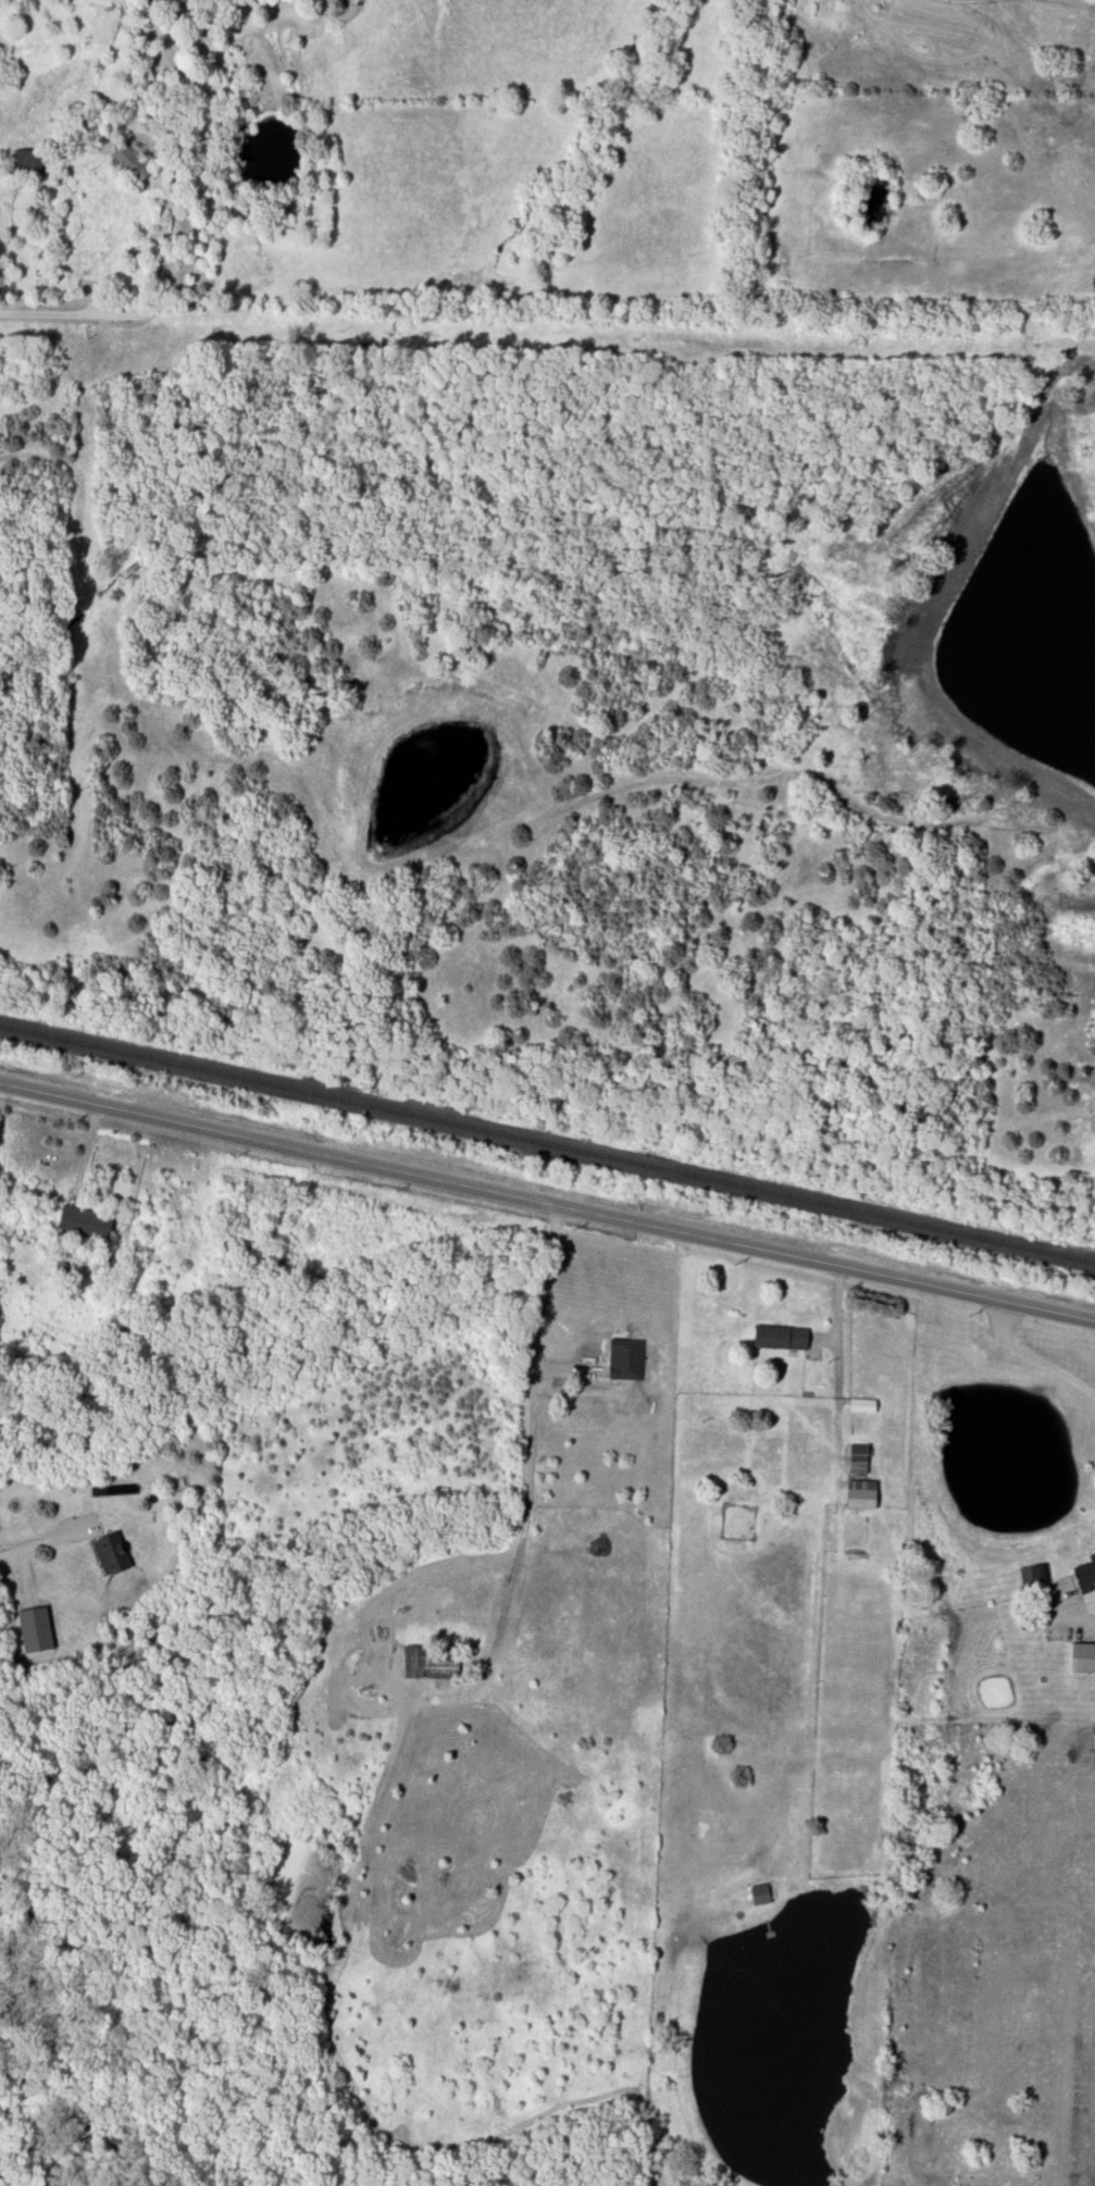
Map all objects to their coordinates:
building: (150, 8)
building: (21, 163)
building: (132, 164)
road: (173, 234)
railway: (547, 1144)
road: (546, 1209)
building: (85, 1222)
road: (536, 1319)
building: (781, 1338)
road: (1033, 1359)
building: (627, 1363)
building: (862, 1406)
building: (859, 1458)
building: (861, 1494)
road: (34, 1545)
building: (111, 1553)
building: (1085, 1575)
building: (1026, 1622)
building: (35, 1630)
building: (1082, 1659)
building: (431, 1663)
building: (760, 1896)

